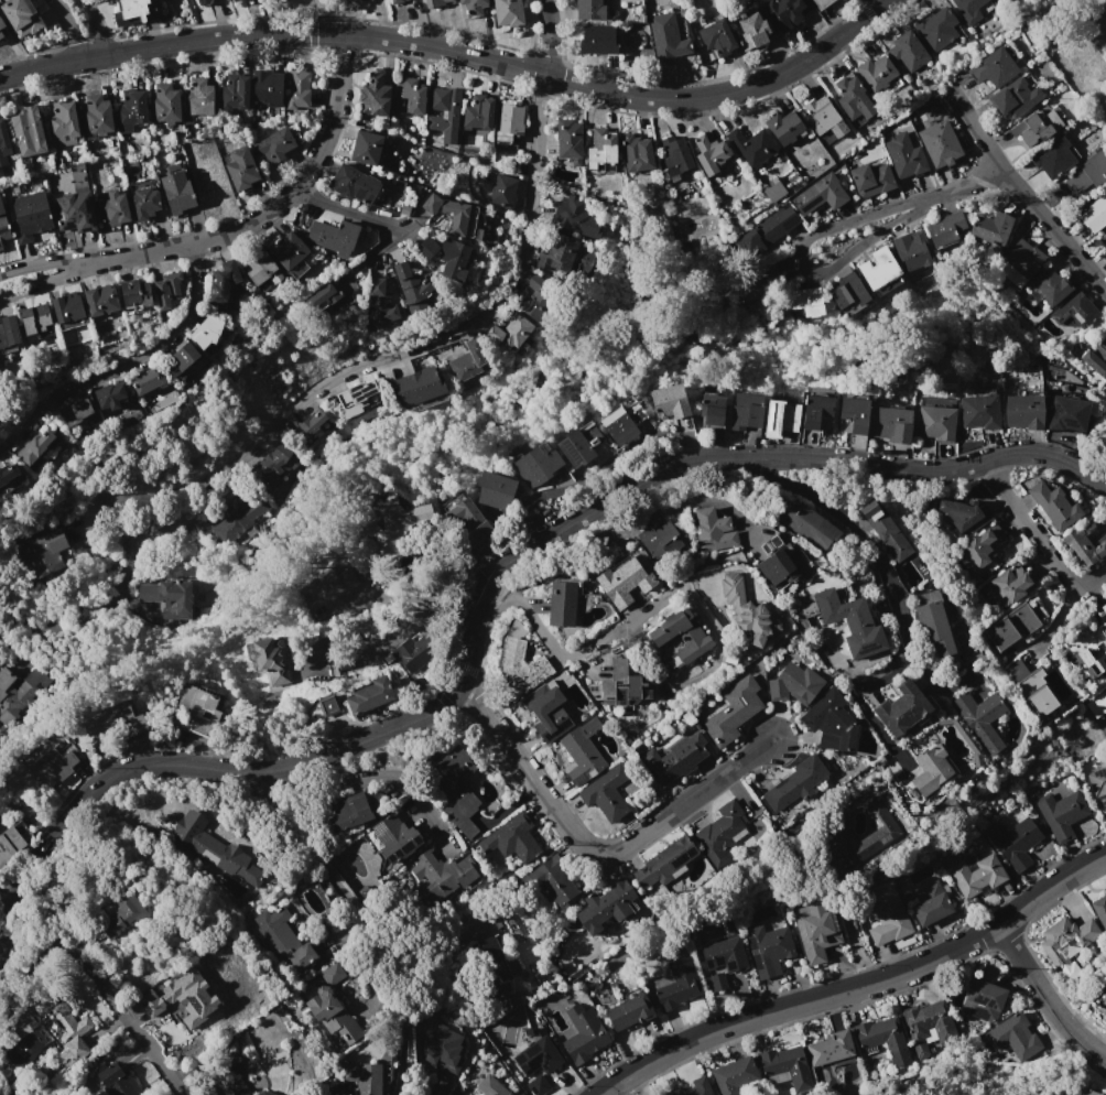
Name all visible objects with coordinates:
building: (232, 0)
building: (235, 0)
building: (360, 0)
building: (395, 1)
building: (202, 2)
building: (434, 2)
building: (821, 3)
road: (875, 3)
building: (473, 7)
building: (969, 9)
building: (589, 10)
building: (131, 12)
building: (508, 12)
building: (784, 12)
building: (21, 17)
road: (325, 18)
road: (344, 18)
road: (1089, 19)
building: (1, 26)
road: (95, 26)
road: (69, 28)
building: (752, 30)
building: (940, 30)
road: (547, 37)
building: (717, 37)
building: (666, 39)
building: (598, 40)
park: (1073, 41)
road: (457, 51)
building: (908, 51)
building: (993, 68)
building: (876, 72)
building: (265, 88)
building: (296, 88)
building: (234, 93)
building: (197, 96)
building: (373, 96)
building: (408, 96)
building: (1015, 97)
building: (853, 98)
building: (165, 104)
building: (131, 108)
building: (478, 112)
building: (820, 113)
building: (96, 115)
building: (443, 116)
building: (509, 121)
building: (63, 122)
building: (783, 127)
building: (1035, 127)
building: (28, 131)
building: (568, 140)
building: (3, 143)
building: (275, 145)
building: (751, 145)
building: (366, 147)
building: (942, 147)
building: (600, 148)
building: (636, 153)
building: (711, 153)
building: (903, 155)
building: (675, 156)
building: (1054, 156)
building: (240, 169)
building: (1087, 173)
building: (870, 178)
building: (353, 184)
building: (773, 189)
building: (501, 192)
building: (177, 193)
road: (1021, 193)
building: (820, 194)
building: (143, 203)
road: (276, 203)
building: (110, 209)
building: (74, 212)
road: (341, 213)
building: (1094, 214)
building: (28, 215)
building: (457, 215)
building: (576, 217)
building: (3, 226)
building: (991, 228)
building: (945, 229)
building: (765, 231)
building: (335, 236)
building: (1103, 241)
building: (1, 246)
building: (425, 249)
building: (913, 250)
building: (289, 253)
building: (563, 253)
road: (98, 260)
building: (453, 261)
building: (1020, 262)
road: (799, 263)
building: (262, 268)
building: (878, 269)
building: (221, 281)
building: (345, 282)
building: (763, 282)
building: (1053, 285)
building: (411, 288)
building: (167, 289)
building: (847, 291)
building: (134, 293)
building: (325, 296)
building: (533, 299)
building: (100, 300)
building: (804, 301)
building: (379, 303)
building: (67, 307)
building: (1075, 311)
building: (34, 318)
building: (8, 330)
building: (509, 330)
building: (206, 333)
road: (400, 349)
building: (183, 358)
building: (1096, 359)
building: (470, 364)
road: (124, 365)
building: (147, 380)
building: (419, 389)
building: (111, 395)
building: (358, 398)
building: (669, 401)
building: (712, 409)
building: (747, 410)
building: (815, 410)
building: (76, 411)
building: (979, 412)
building: (1023, 412)
building: (855, 414)
building: (1066, 414)
building: (780, 418)
building: (935, 422)
building: (890, 424)
building: (306, 426)
building: (617, 426)
building: (1060, 436)
building: (579, 445)
building: (35, 446)
building: (536, 465)
building: (273, 466)
building: (9, 478)
road: (582, 483)
building: (495, 490)
building: (1054, 505)
road: (140, 512)
building: (962, 514)
road: (653, 516)
building: (238, 519)
building: (393, 521)
building: (468, 522)
building: (805, 524)
building: (712, 530)
building: (885, 530)
road: (133, 534)
building: (660, 540)
road: (1037, 541)
building: (1083, 542)
building: (982, 550)
road: (875, 553)
building: (41, 554)
road: (123, 564)
building: (777, 568)
road: (481, 581)
building: (622, 582)
building: (1011, 583)
building: (327, 588)
road: (120, 595)
building: (169, 596)
building: (560, 605)
building: (747, 612)
road: (418, 614)
road: (1053, 619)
building: (845, 620)
building: (1011, 628)
building: (932, 630)
building: (682, 635)
building: (414, 647)
building: (1089, 649)
road: (568, 653)
building: (271, 660)
building: (521, 668)
building: (793, 684)
building: (617, 687)
building: (1031, 689)
building: (10, 693)
building: (368, 696)
building: (1097, 703)
building: (326, 705)
building: (902, 707)
building: (196, 709)
building: (547, 709)
building: (731, 712)
building: (206, 714)
building: (979, 719)
building: (831, 724)
road: (874, 724)
building: (111, 725)
building: (582, 752)
building: (674, 758)
building: (56, 766)
building: (931, 771)
road: (381, 773)
building: (794, 783)
building: (457, 788)
building: (1097, 788)
building: (605, 794)
building: (349, 811)
building: (1060, 813)
building: (883, 833)
building: (720, 834)
building: (395, 838)
building: (513, 838)
road: (300, 842)
building: (1015, 842)
building: (10, 845)
road: (590, 849)
building: (217, 852)
building: (664, 863)
building: (442, 875)
building: (976, 875)
building: (554, 878)
building: (930, 903)
building: (607, 907)
building: (1099, 908)
building: (116, 917)
building: (888, 918)
building: (815, 931)
building: (282, 937)
building: (1064, 941)
building: (767, 948)
building: (722, 960)
building: (497, 964)
road: (98, 978)
building: (676, 984)
road: (859, 989)
building: (185, 998)
road: (1043, 998)
building: (982, 1000)
building: (328, 1006)
building: (1104, 1008)
building: (629, 1011)
building: (929, 1026)
building: (73, 1030)
building: (583, 1034)
building: (880, 1036)
building: (1012, 1037)
building: (441, 1047)
building: (829, 1048)
building: (538, 1063)
building: (784, 1065)
building: (232, 1073)
building: (733, 1075)
building: (116, 1078)
building: (362, 1078)
road: (440, 1087)
building: (488, 1087)
building: (692, 1087)
building: (1093, 1092)
building: (263, 1093)

